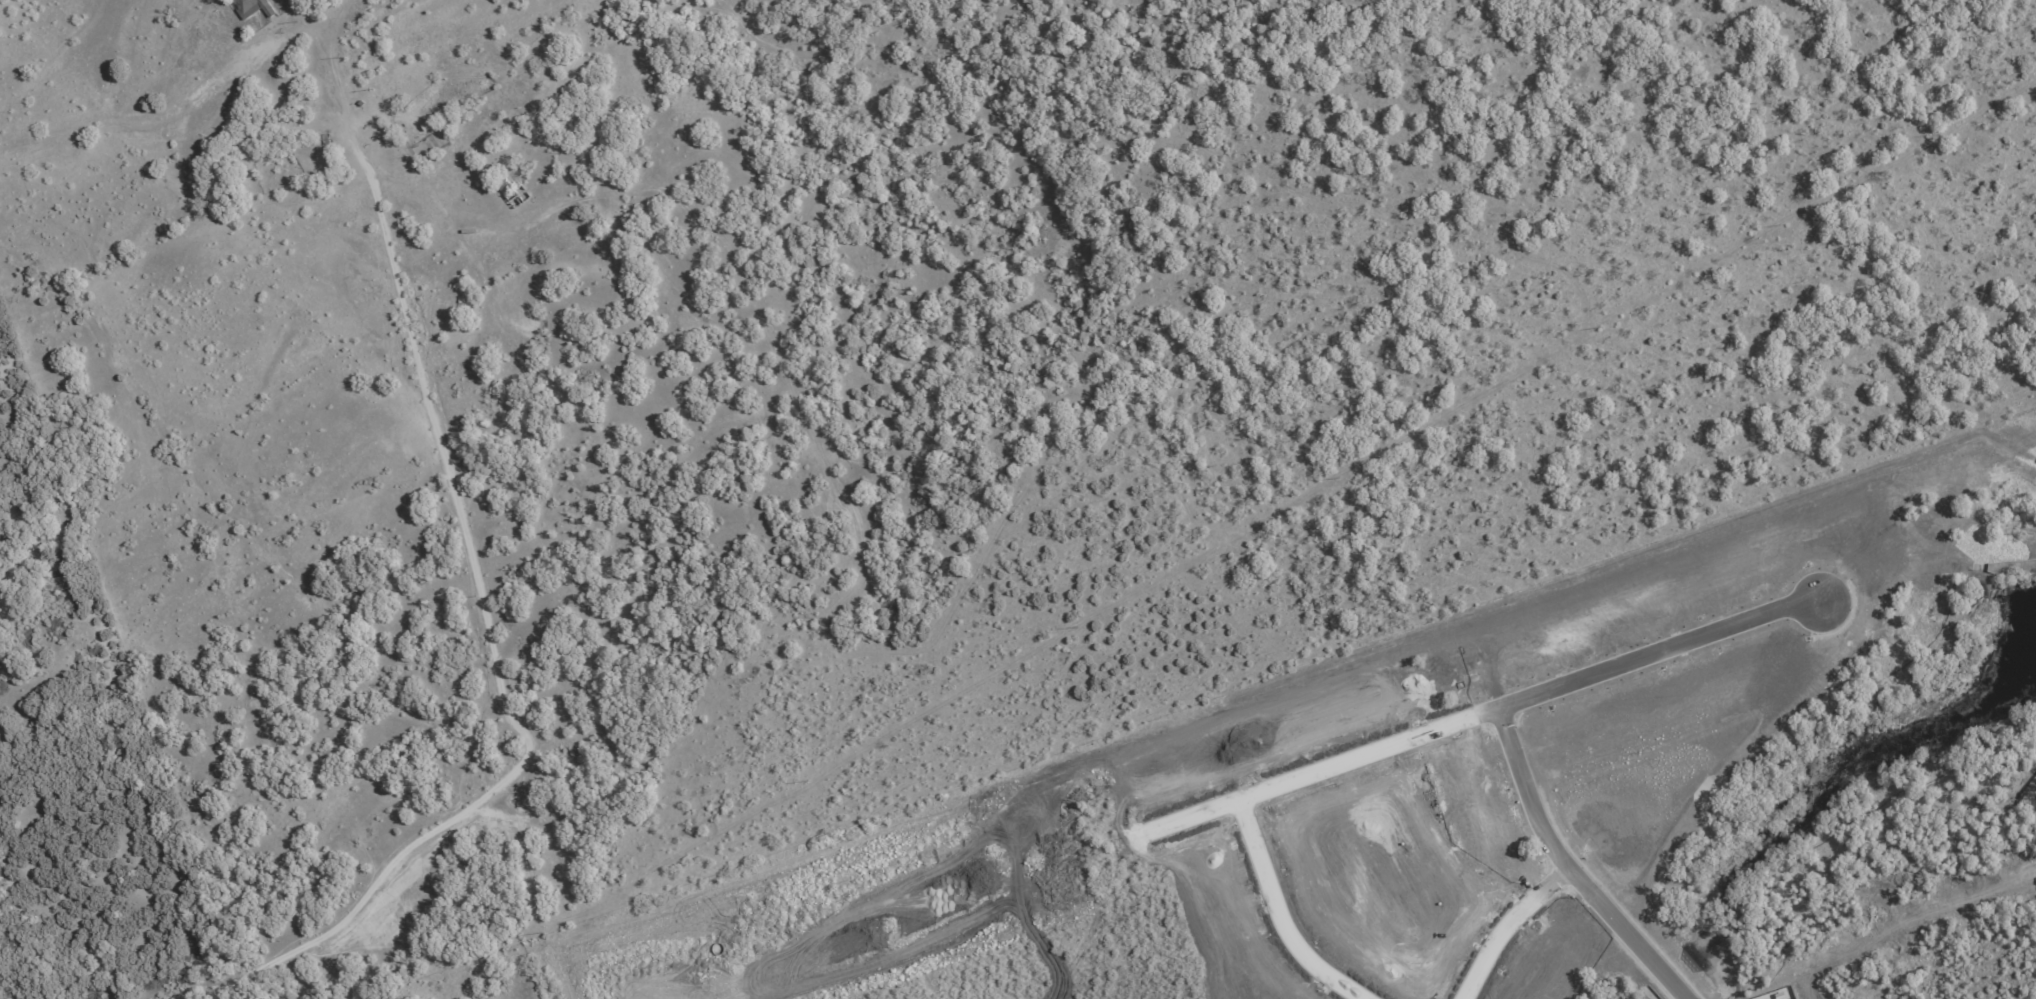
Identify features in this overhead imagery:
building: (250, 6)
road: (438, 441)
road: (1239, 790)
road: (1576, 862)
road: (1269, 876)
road: (1955, 894)
road: (955, 911)
road: (1505, 923)
road: (1092, 925)
road: (836, 967)
road: (654, 998)

